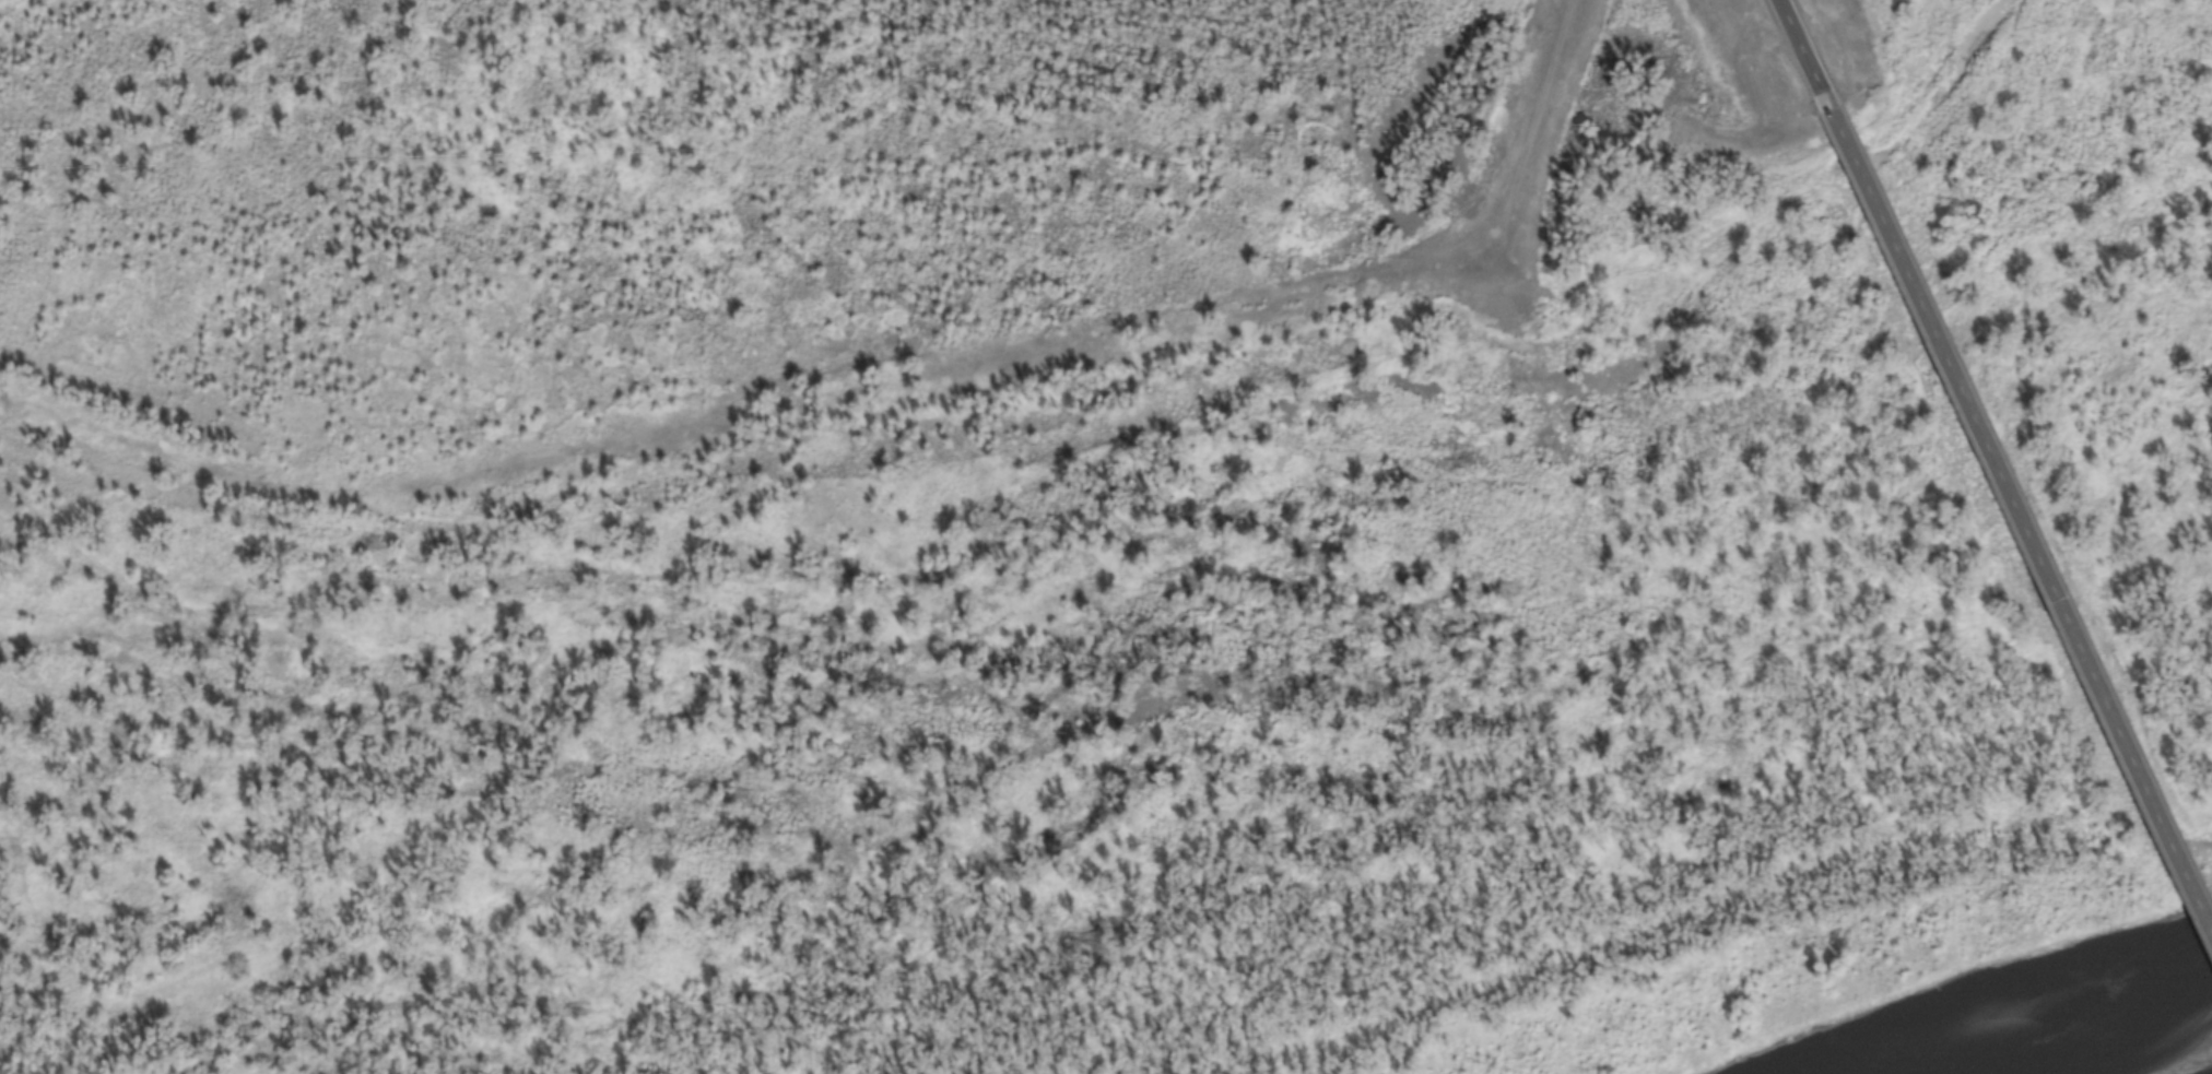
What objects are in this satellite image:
road: (1797, 51)
road: (2016, 530)
river: (2058, 1037)

